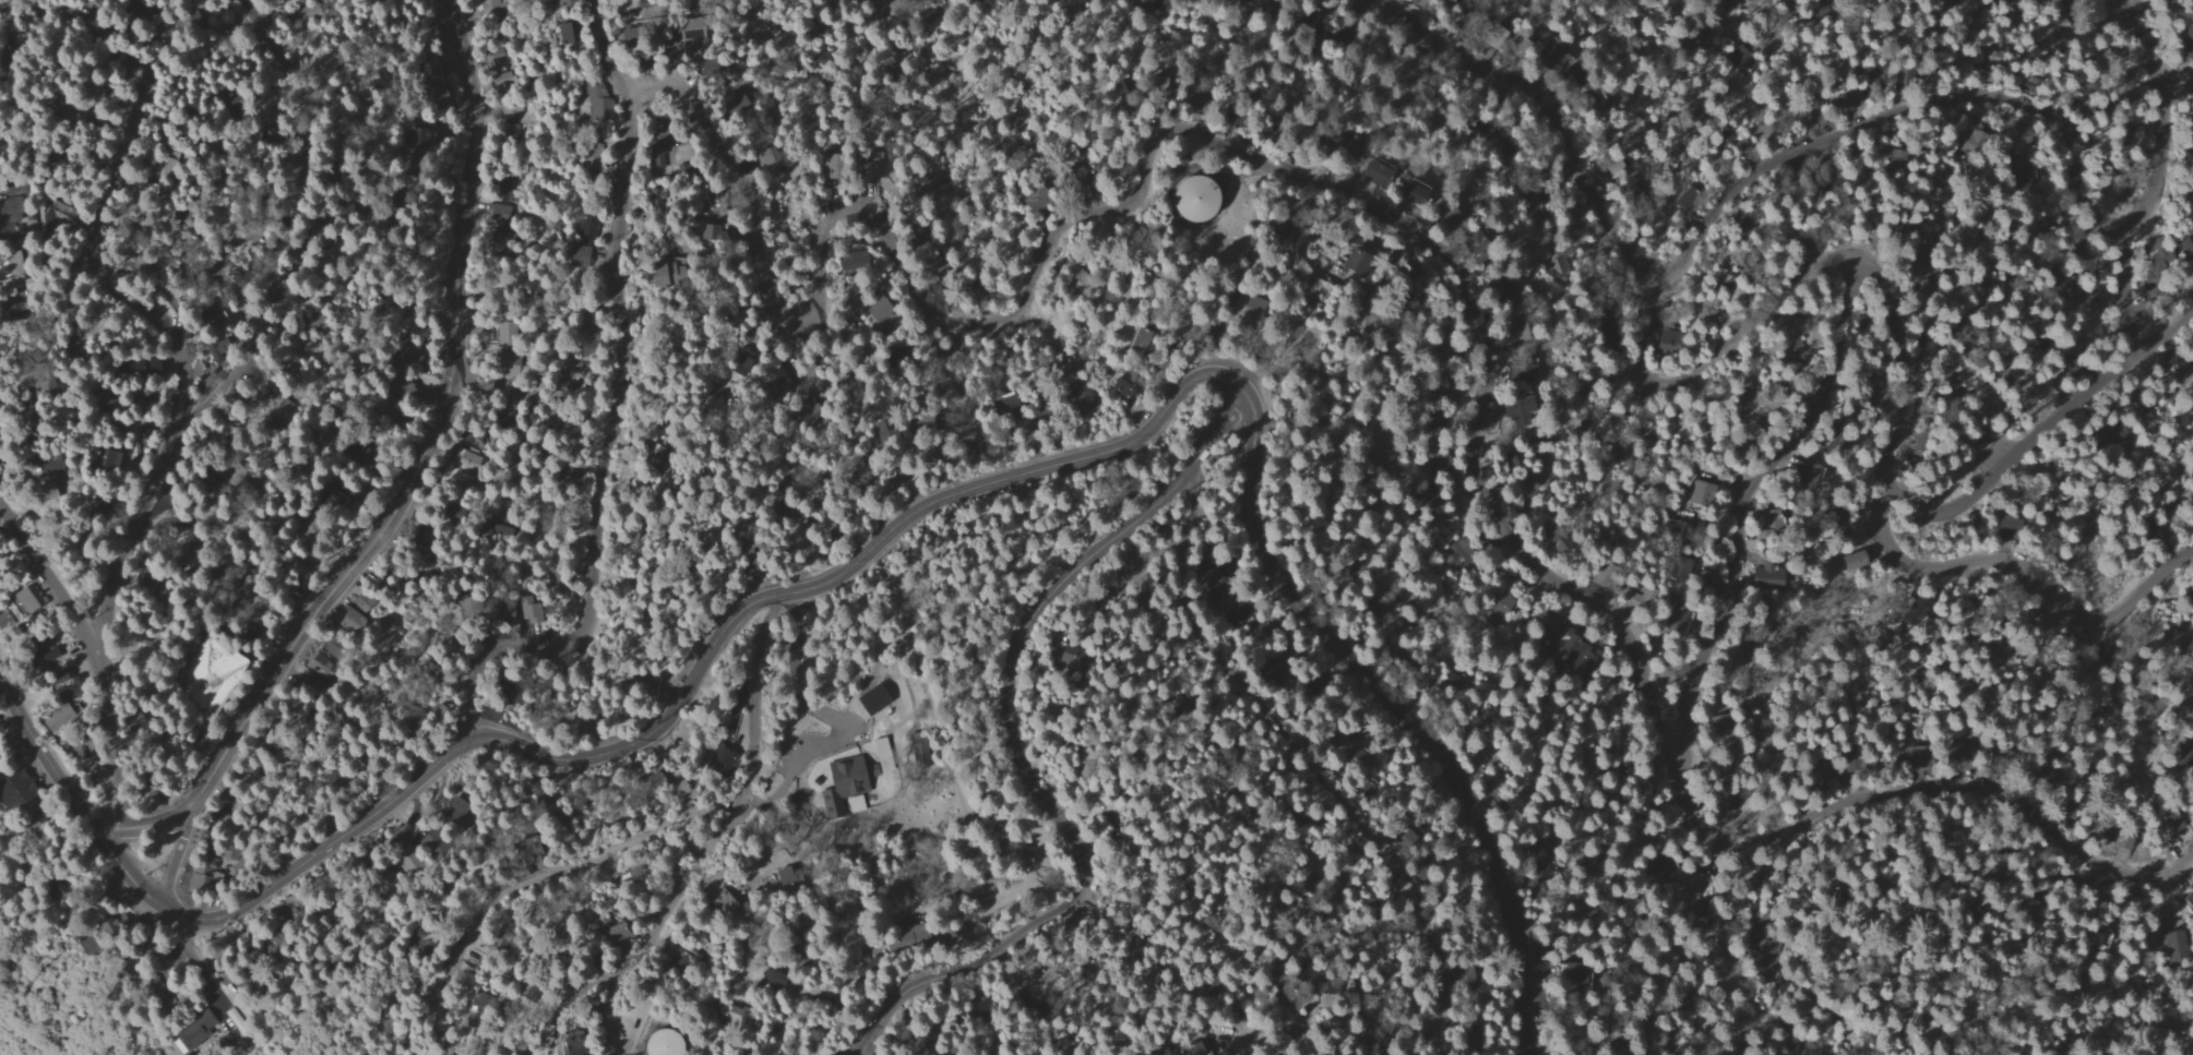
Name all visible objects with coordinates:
building: (108, 0)
building: (563, 1)
building: (454, 33)
building: (558, 34)
road: (2140, 46)
building: (1552, 56)
road: (2174, 91)
building: (735, 101)
building: (595, 103)
building: (2191, 134)
building: (591, 155)
building: (654, 160)
road: (1767, 168)
road: (2156, 168)
building: (1378, 172)
building: (157, 189)
building: (860, 191)
building: (1414, 193)
building: (1194, 196)
storage tank: (1194, 196)
road: (105, 197)
building: (19, 205)
building: (60, 223)
building: (1800, 231)
building: (1742, 232)
road: (1427, 237)
building: (576, 254)
building: (2154, 256)
building: (1352, 265)
building: (1747, 272)
building: (1761, 287)
building: (1730, 288)
building: (1231, 308)
building: (1711, 317)
road: (247, 320)
building: (1790, 327)
building: (1523, 333)
building: (1669, 340)
building: (219, 353)
road: (1717, 355)
building: (240, 375)
road: (494, 385)
building: (1119, 385)
building: (281, 408)
road: (613, 408)
road: (2039, 431)
road: (558, 439)
building: (1800, 468)
road: (407, 481)
building: (1701, 493)
building: (2189, 500)
road: (1739, 512)
building: (1769, 517)
building: (2006, 524)
road: (1909, 560)
road: (39, 564)
building: (1211, 575)
building: (1766, 578)
building: (2190, 596)
building: (29, 602)
building: (529, 613)
building: (348, 616)
building: (5, 621)
building: (1071, 656)
building: (1577, 656)
road: (702, 662)
building: (215, 675)
road: (1010, 690)
building: (870, 700)
building: (68, 708)
road: (1397, 710)
road: (836, 716)
road: (105, 734)
road: (45, 754)
road: (1304, 759)
building: (714, 762)
building: (2185, 763)
building: (841, 784)
building: (22, 791)
road: (744, 803)
building: (454, 810)
building: (199, 843)
road: (179, 854)
road: (126, 872)
road: (537, 876)
building: (783, 876)
building: (211, 878)
building: (725, 901)
building: (274, 947)
building: (681, 955)
building: (1587, 978)
road: (923, 980)
road: (224, 988)
road: (808, 992)
road: (563, 1003)
road: (608, 1017)
road: (881, 1021)
building: (238, 1023)
building: (196, 1032)
building: (653, 1043)
building: (565, 1047)
road: (1250, 1047)
road: (868, 1051)

